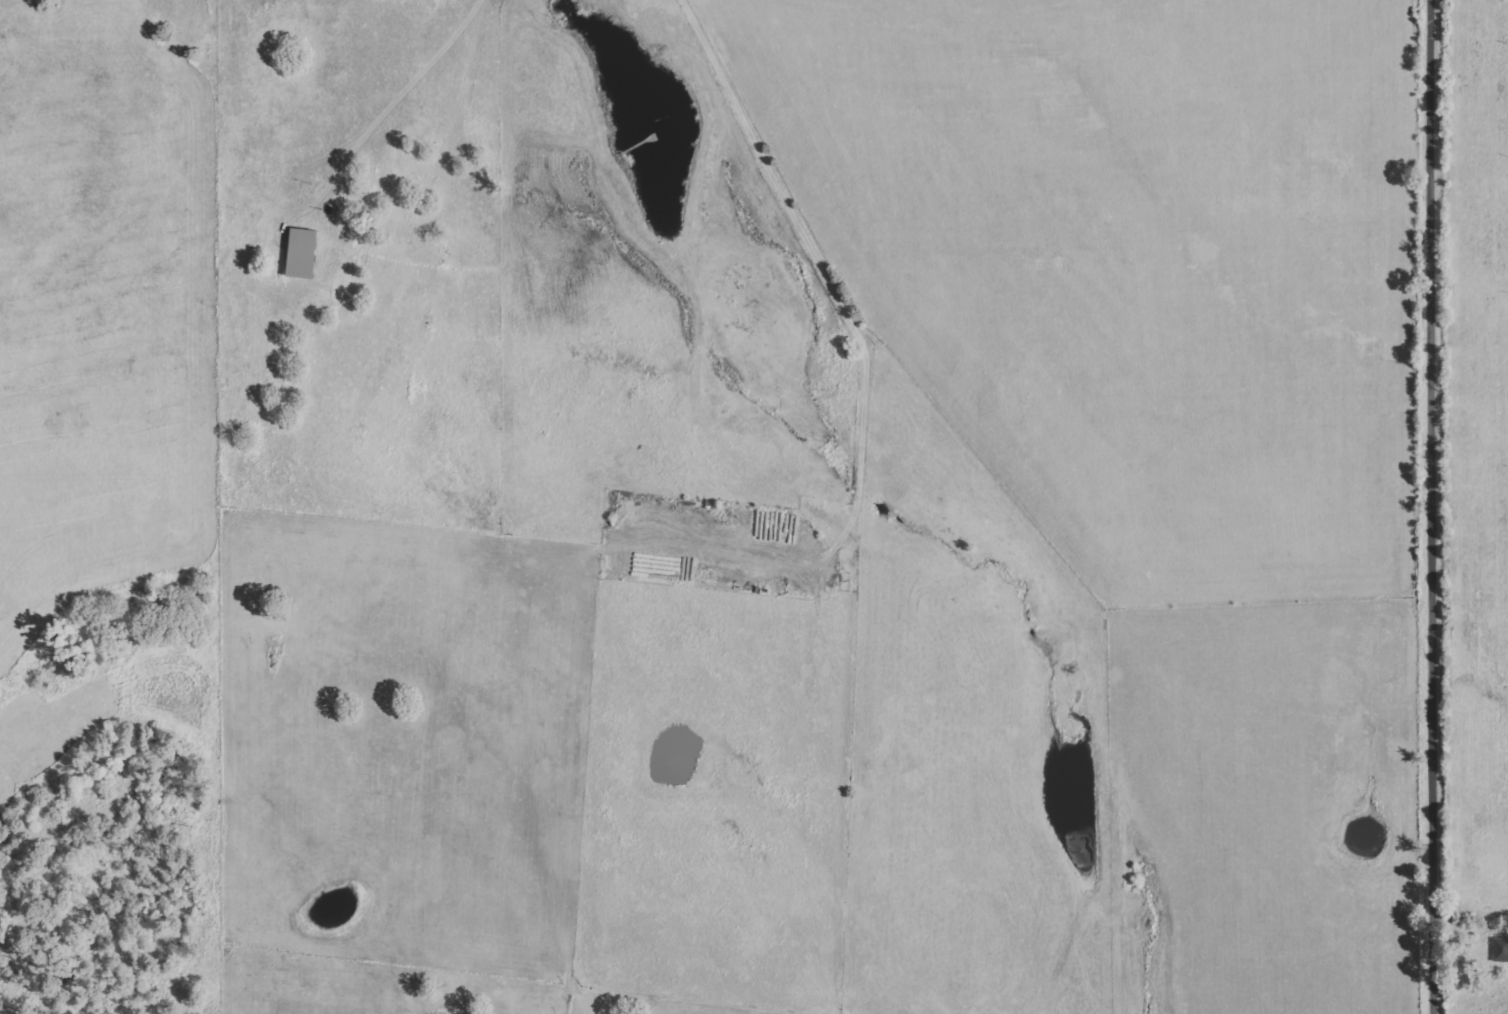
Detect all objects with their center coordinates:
road: (1436, 506)
building: (1501, 950)

